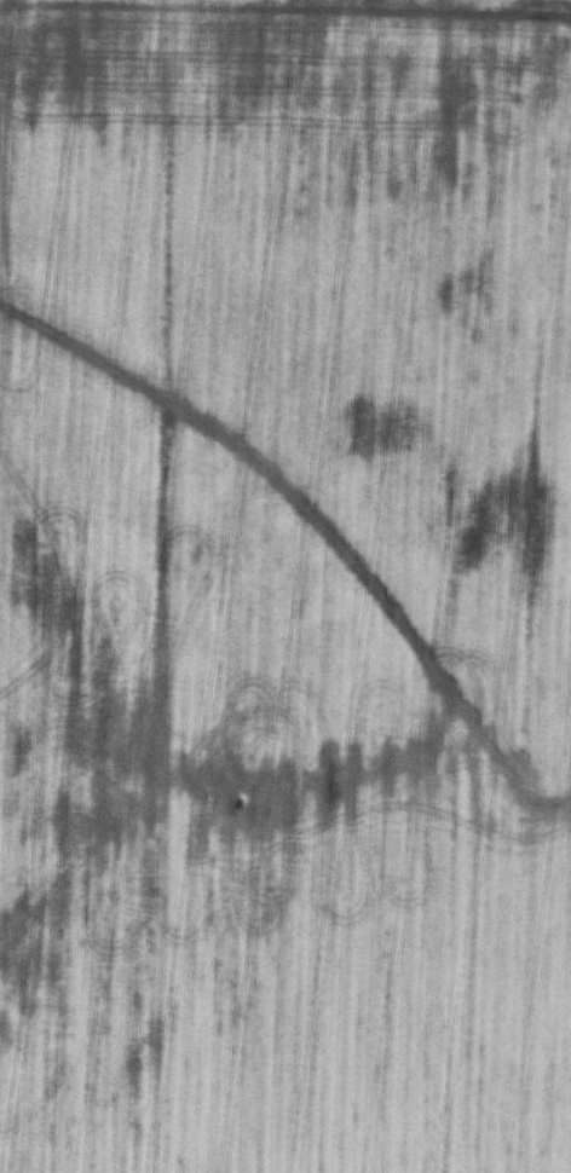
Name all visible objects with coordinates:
crop: (285, 586)

